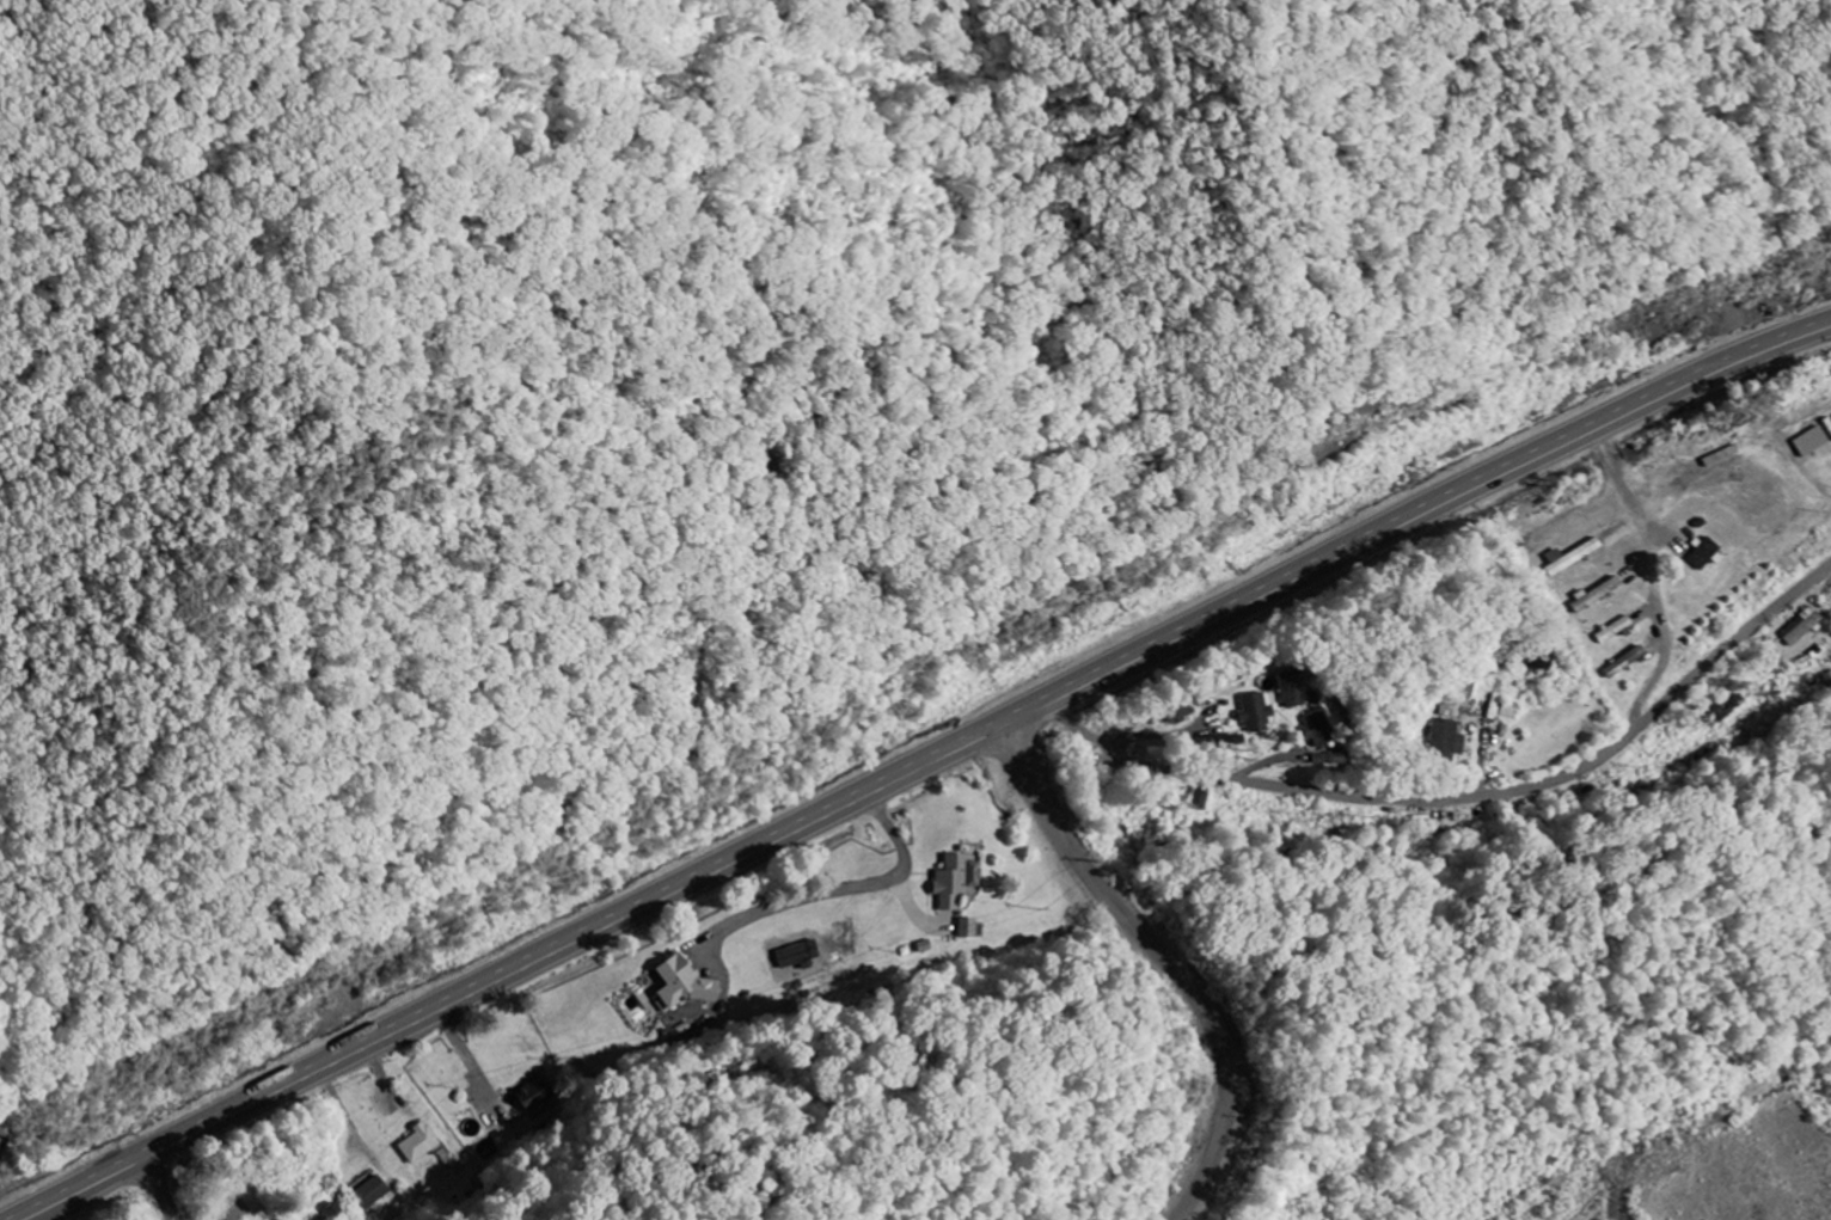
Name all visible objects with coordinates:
building: (1706, 554)
building: (1574, 557)
building: (1603, 591)
building: (1801, 627)
building: (1613, 630)
building: (1537, 658)
building: (1826, 679)
building: (1286, 691)
building: (1449, 712)
building: (1174, 713)
building: (1249, 715)
building: (1315, 729)
building: (1445, 740)
road: (1025, 752)
road: (924, 767)
building: (1200, 799)
road: (1457, 828)
building: (954, 881)
building: (967, 928)
building: (680, 985)
road: (1192, 986)
building: (532, 1096)
building: (418, 1142)
road: (161, 1188)
building: (373, 1193)
road: (195, 1208)

